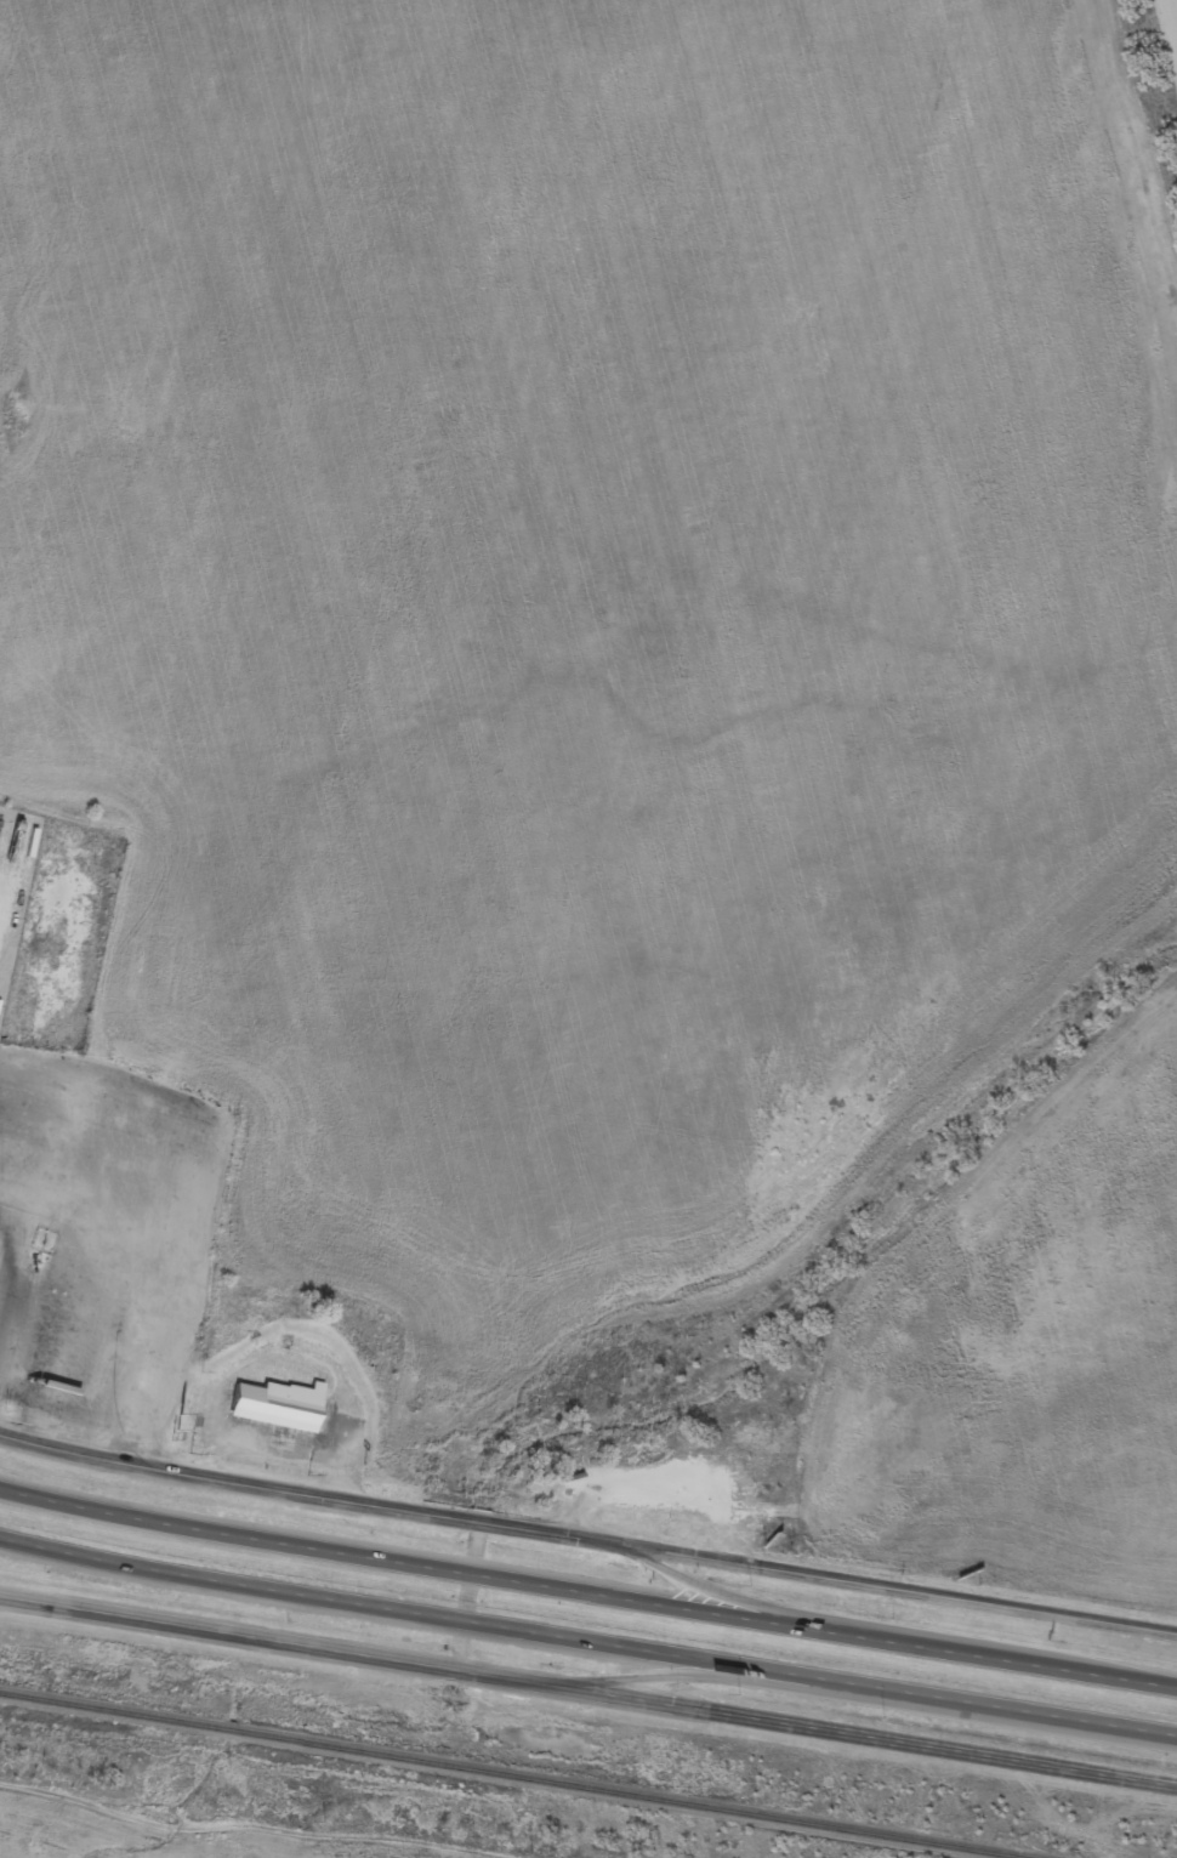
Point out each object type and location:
building: (274, 1414)
road: (308, 1490)
road: (895, 1597)
road: (586, 1604)
road: (730, 1604)
road: (280, 1642)
road: (587, 1650)
road: (726, 1688)
road: (869, 1741)
railway: (511, 1775)

